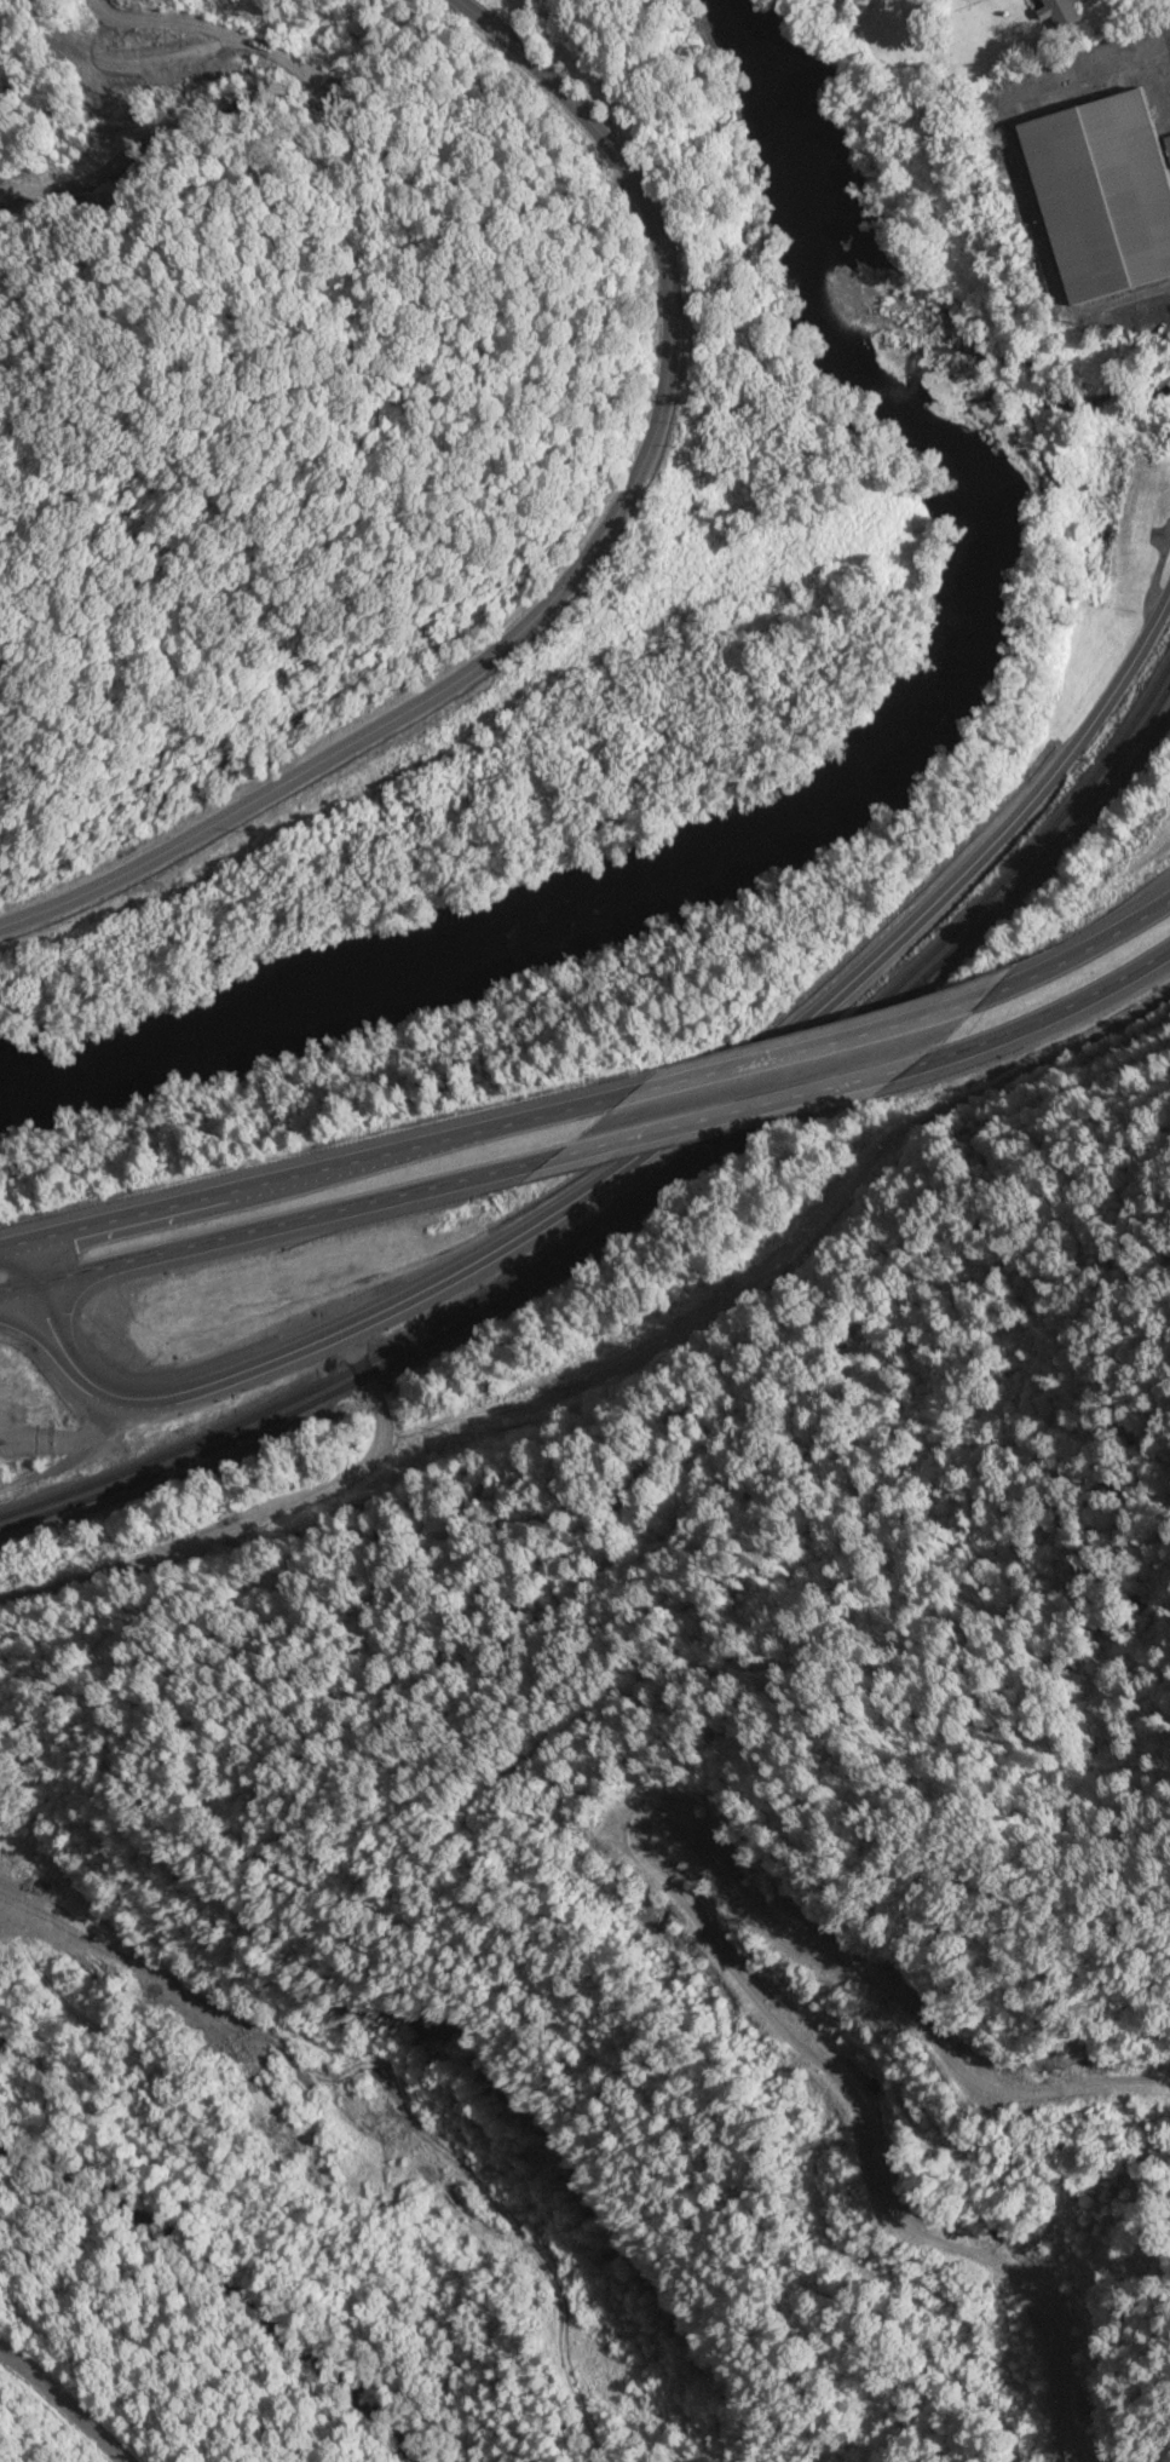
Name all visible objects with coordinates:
building: (1051, 13)
building: (1094, 197)
building: (1131, 511)
road: (577, 576)
river: (848, 778)
railway: (1066, 842)
road: (1067, 957)
road: (1057, 1014)
road: (789, 1053)
road: (753, 1109)
road: (669, 1139)
road: (325, 1178)
railway: (653, 1184)
railway: (651, 1197)
road: (307, 1229)
road: (16, 1261)
road: (39, 1278)
road: (22, 1304)
road: (60, 1439)
road: (255, 1519)
road: (538, 1707)
road: (120, 1956)
road: (332, 2096)
road: (64, 2388)

